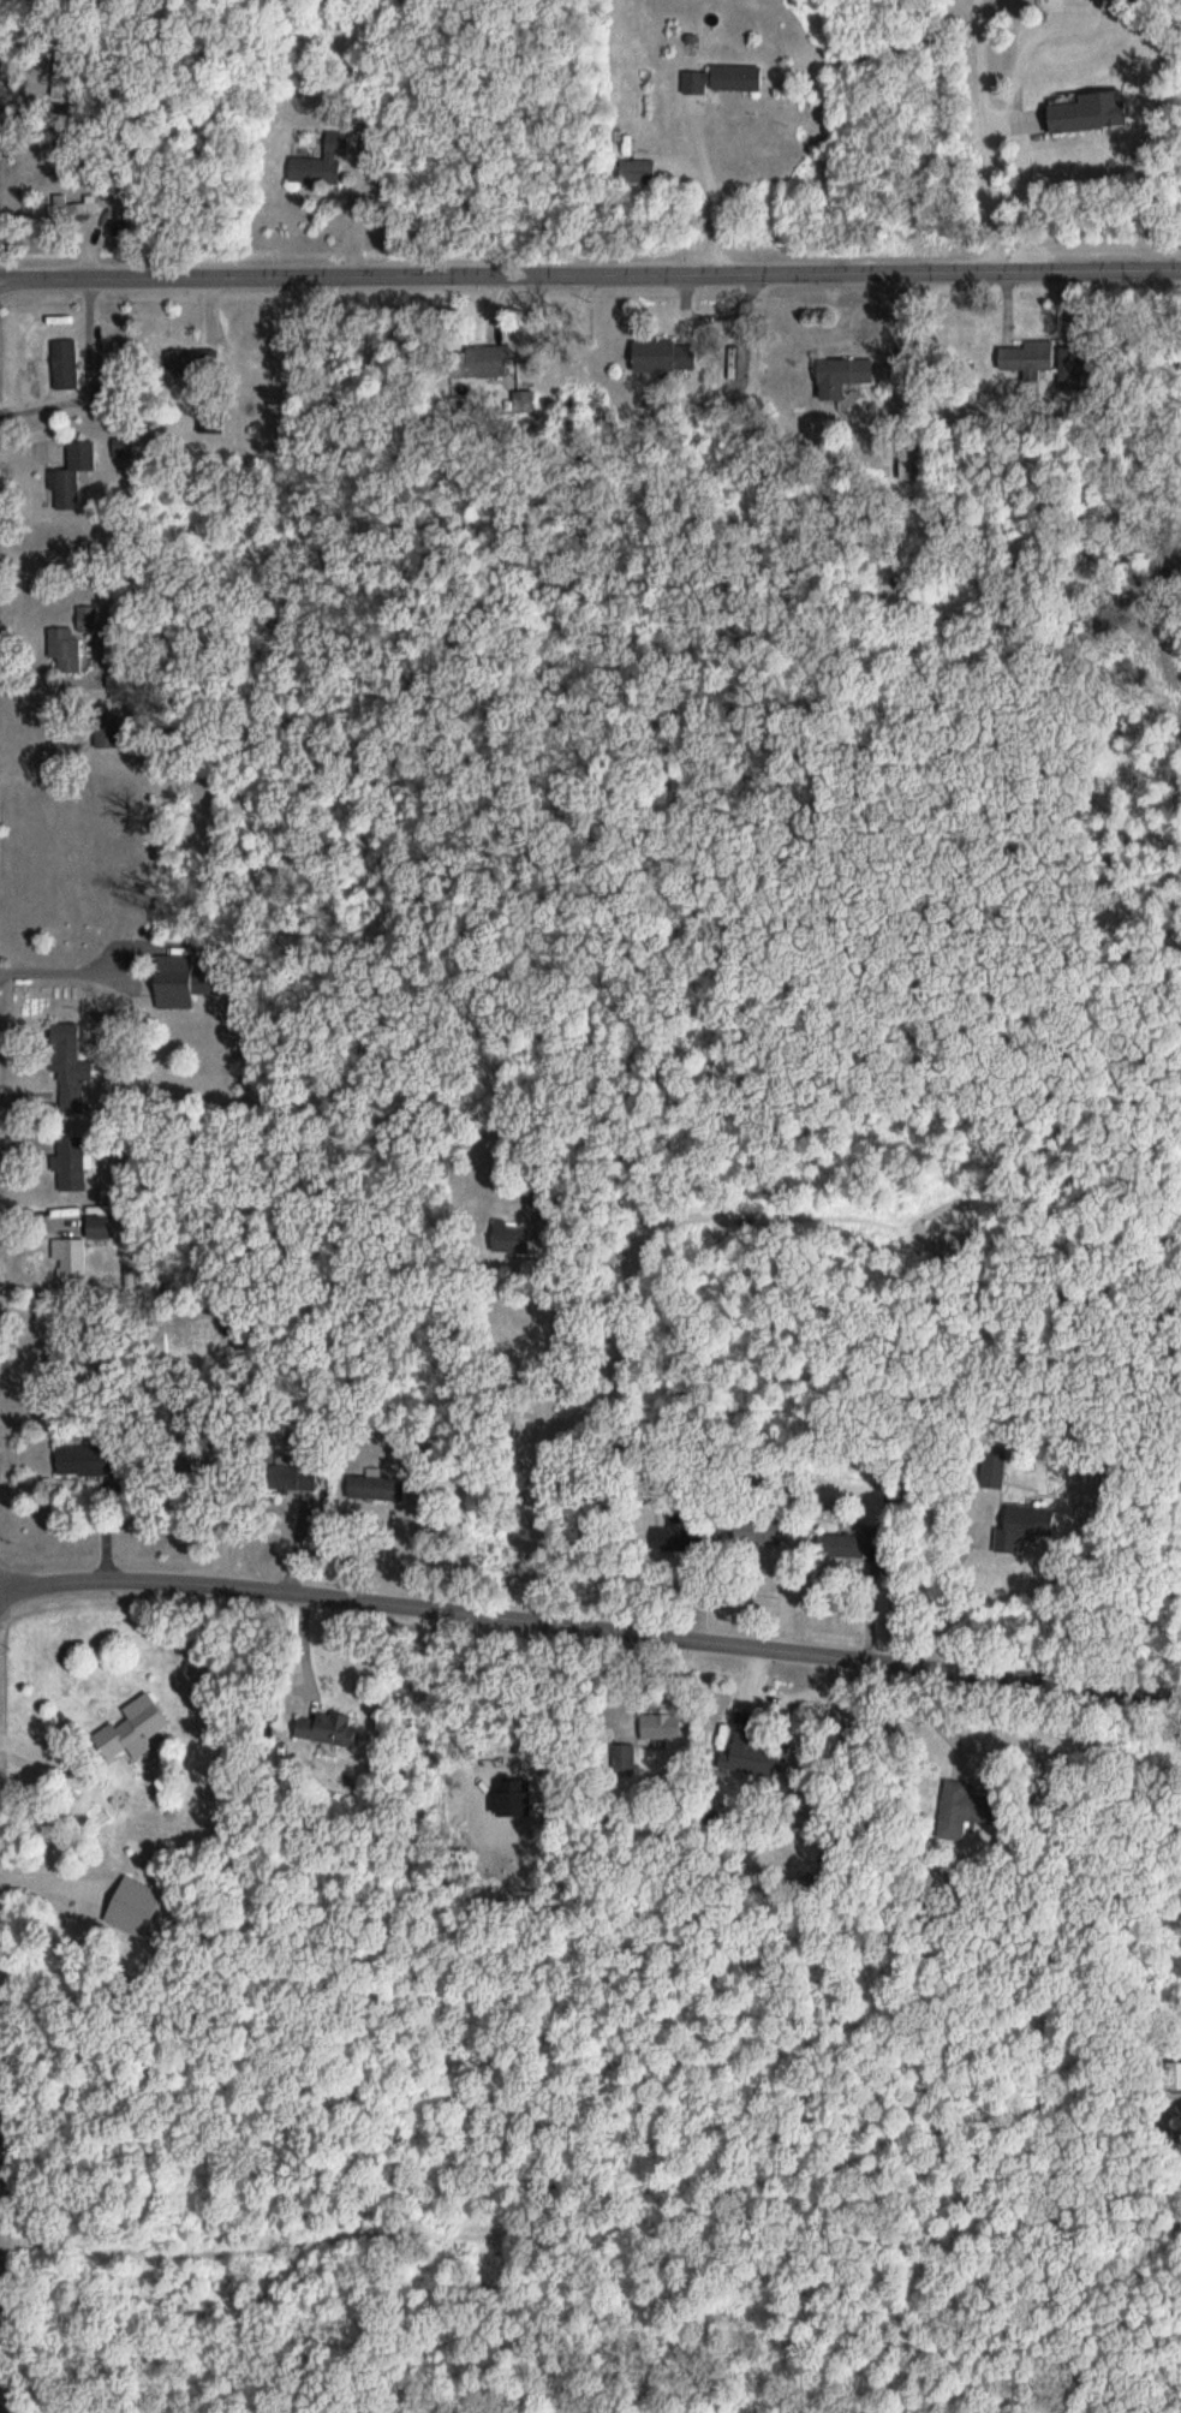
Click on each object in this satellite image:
building: (740, 77)
building: (697, 85)
road: (1075, 132)
building: (317, 168)
building: (639, 171)
road: (590, 269)
building: (1030, 356)
building: (660, 357)
building: (483, 362)
building: (195, 363)
building: (68, 364)
building: (839, 380)
building: (210, 421)
building: (918, 464)
building: (76, 475)
building: (71, 649)
building: (174, 990)
building: (73, 1079)
building: (76, 1170)
building: (76, 1257)
building: (85, 1462)
building: (996, 1472)
building: (298, 1474)
building: (369, 1488)
building: (1033, 1521)
building: (761, 1529)
building: (685, 1539)
building: (851, 1545)
road: (591, 1623)
building: (664, 1726)
building: (330, 1728)
building: (138, 1730)
building: (753, 1748)
building: (956, 1810)
building: (137, 1906)
building: (1177, 2074)

